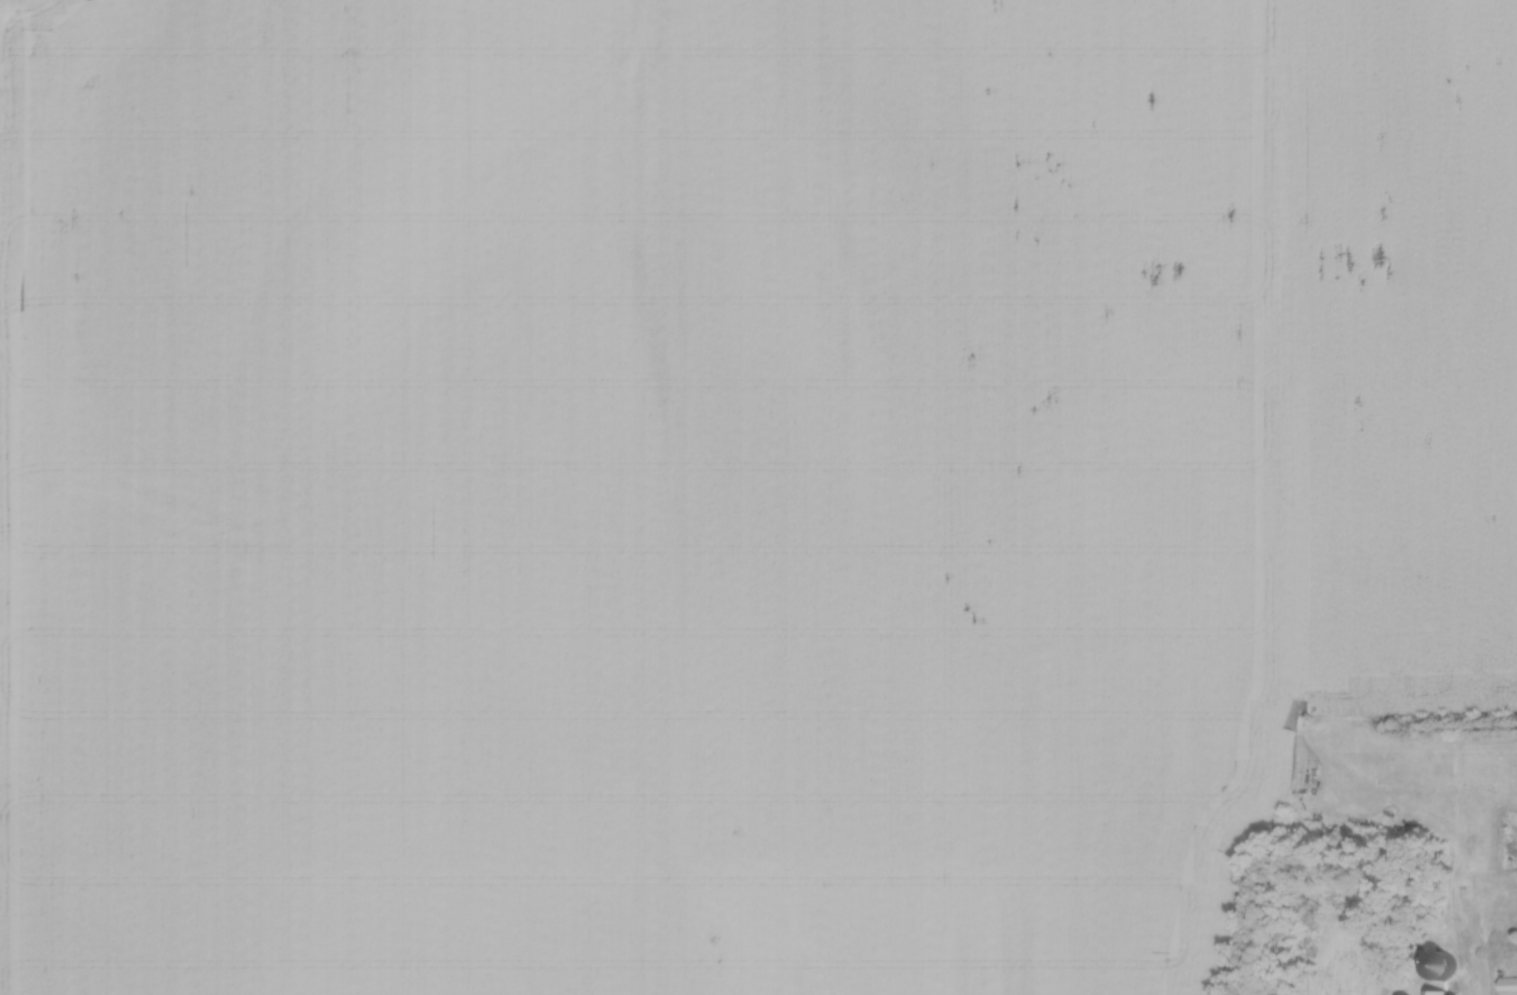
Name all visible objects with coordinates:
building: (1438, 961)
building: (1507, 979)
building: (1434, 990)
building: (1405, 993)
building: (1456, 994)

